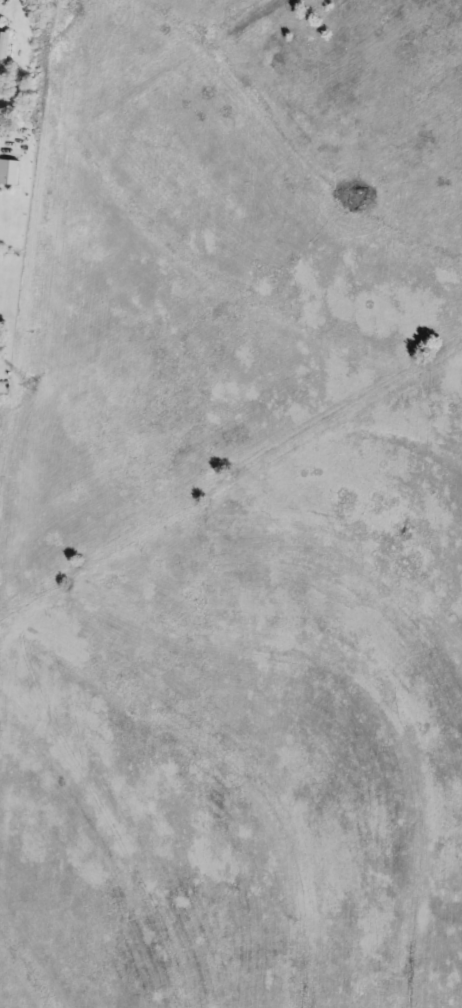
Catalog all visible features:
power tower: (77, 9)
building: (4, 48)
building: (9, 172)
railway: (38, 333)
power tower: (34, 384)

